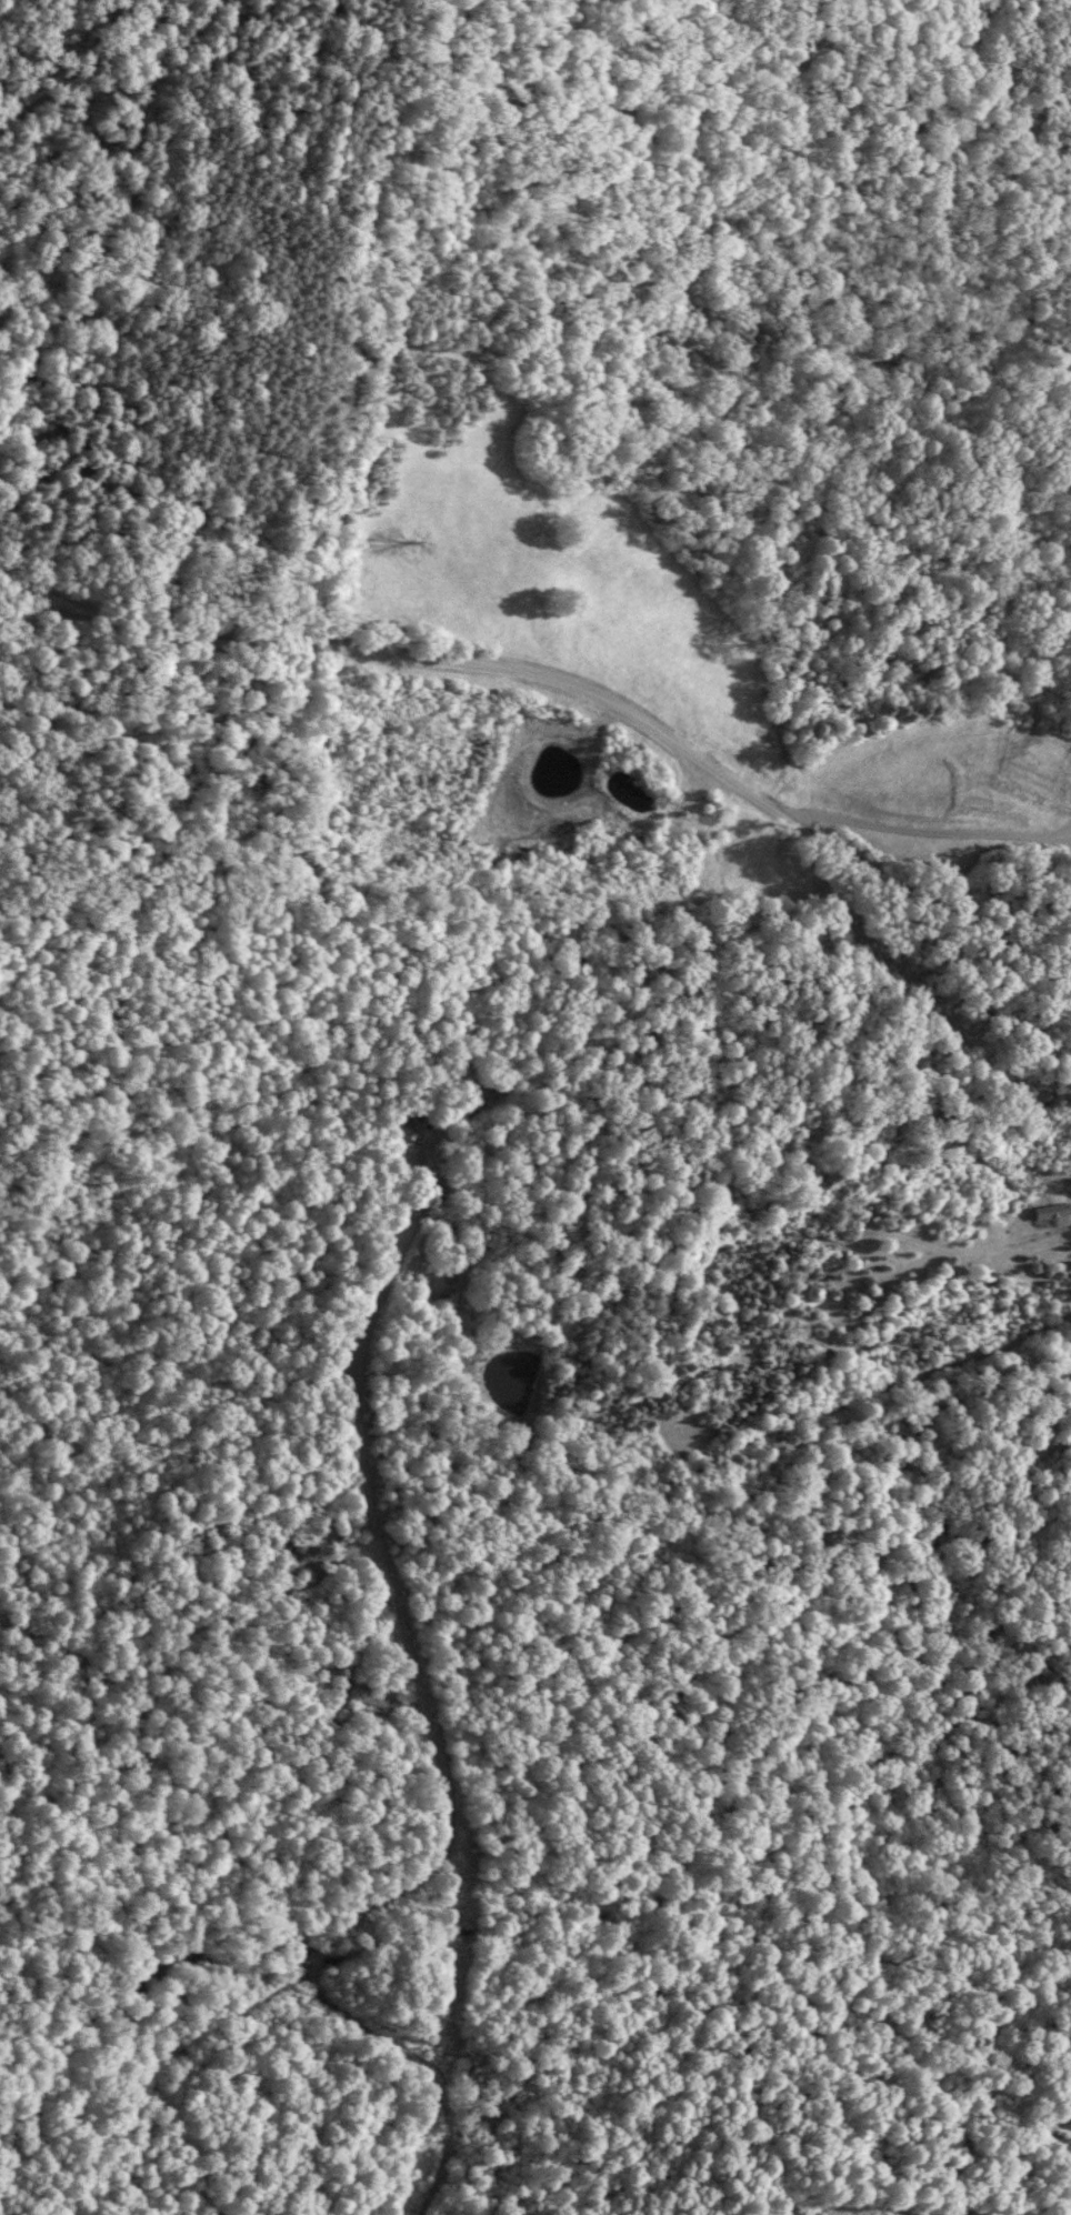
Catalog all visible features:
road: (153, 58)
road: (564, 685)
building: (350, 1695)
road: (423, 2071)

